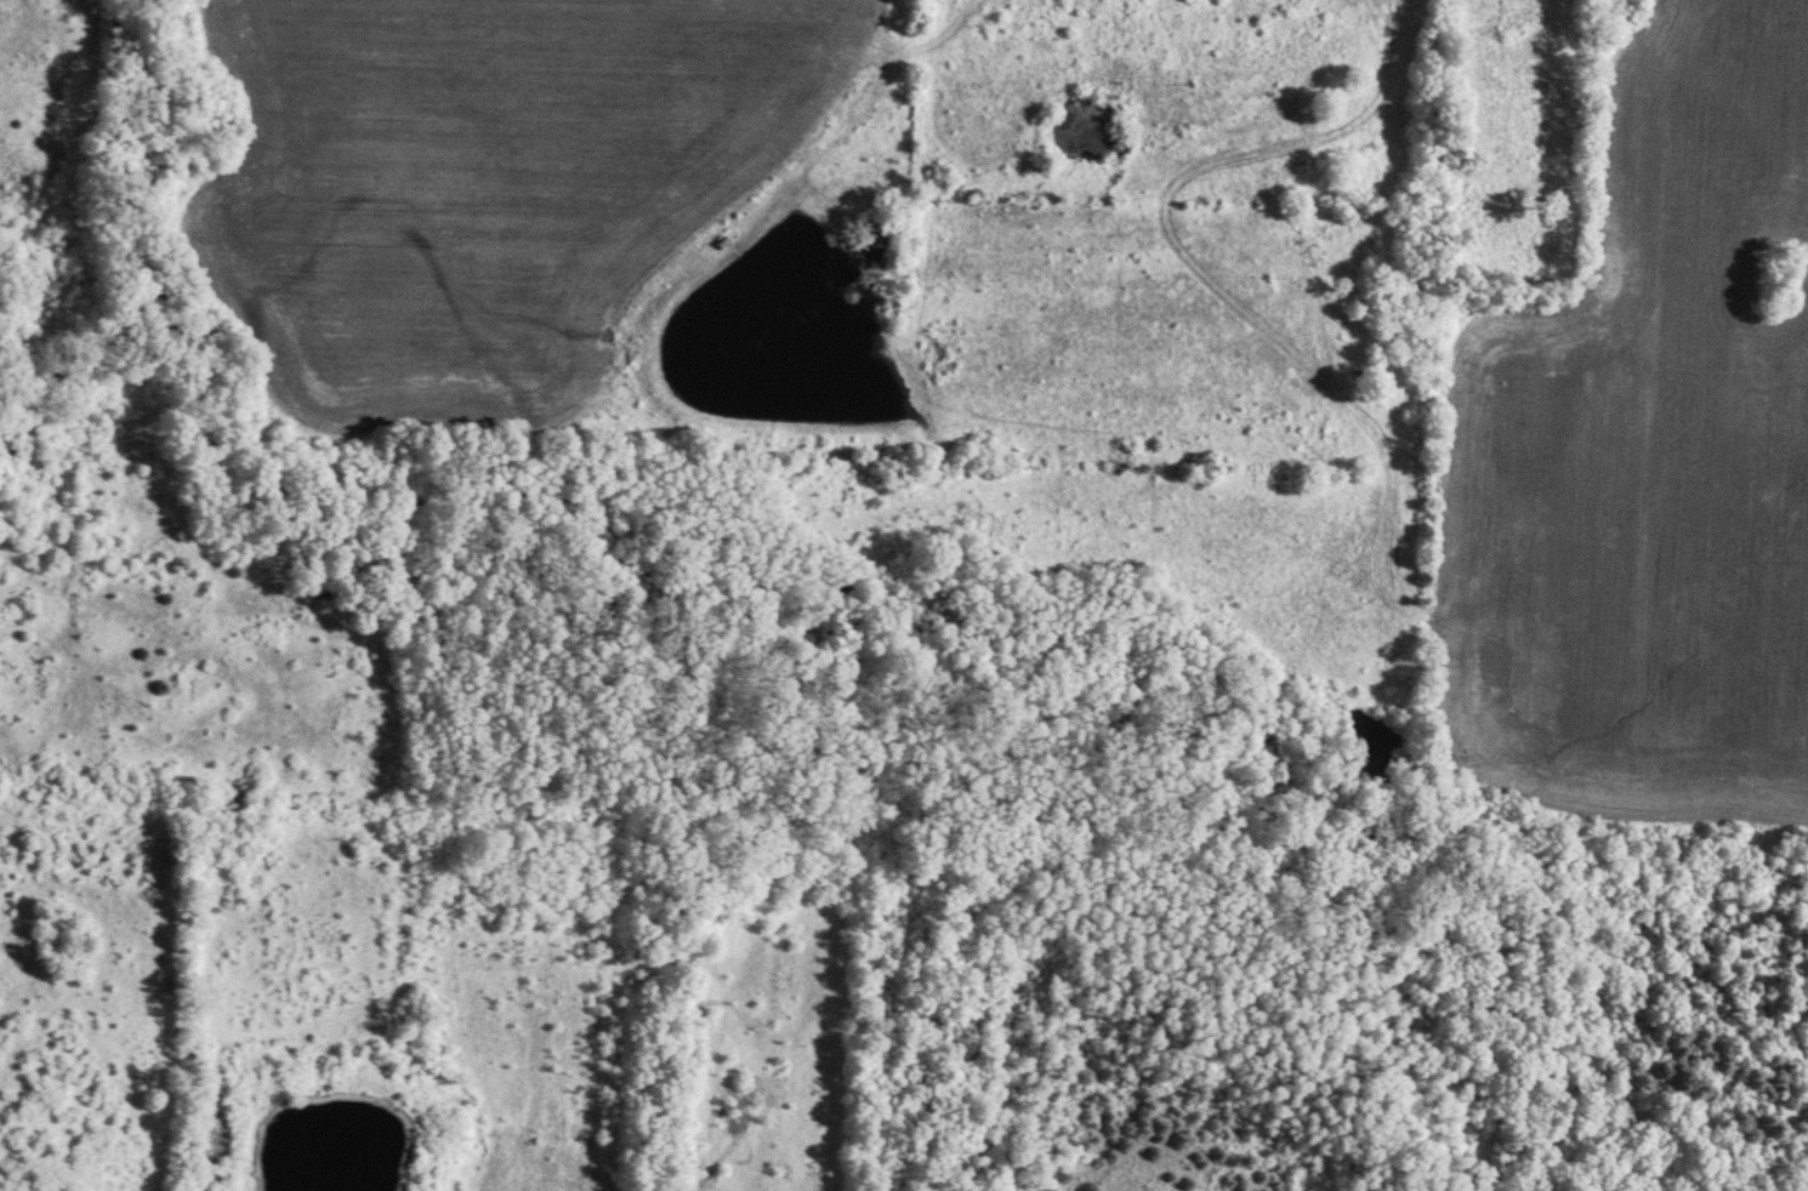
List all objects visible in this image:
road: (1456, 29)

